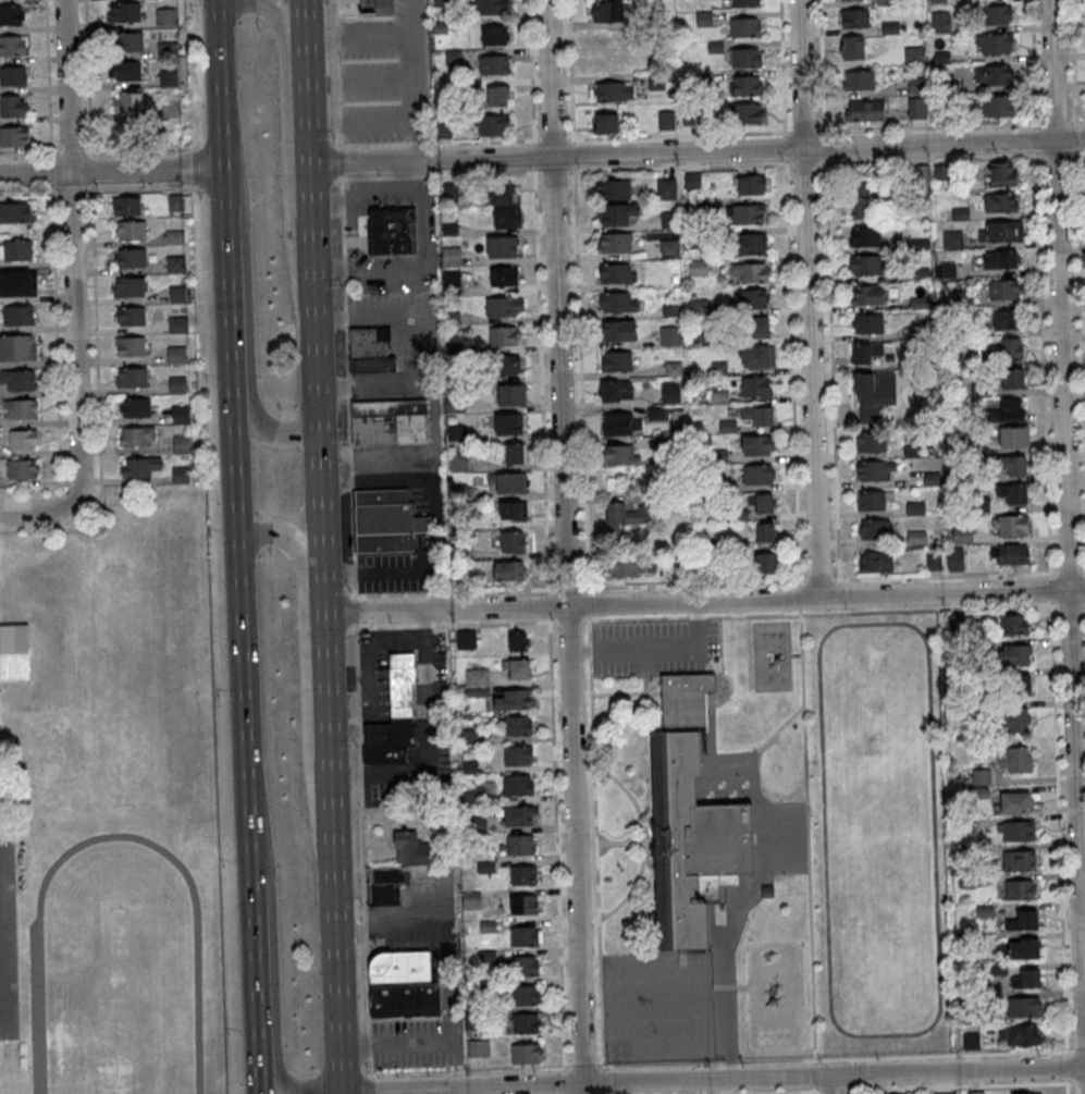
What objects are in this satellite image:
building: (938, 1)
building: (885, 2)
building: (441, 3)
building: (745, 3)
building: (491, 7)
building: (378, 8)
building: (607, 11)
building: (124, 12)
building: (12, 15)
building: (998, 15)
building: (165, 16)
building: (655, 19)
building: (704, 19)
building: (858, 19)
building: (941, 23)
building: (440, 27)
building: (745, 28)
building: (891, 28)
building: (495, 36)
building: (605, 38)
road: (359, 39)
building: (128, 41)
building: (13, 45)
building: (997, 45)
building: (716, 47)
building: (167, 48)
building: (853, 48)
building: (914, 56)
building: (454, 58)
building: (745, 58)
building: (942, 58)
building: (612, 61)
road: (1033, 62)
building: (494, 65)
building: (126, 70)
road: (336, 74)
building: (13, 75)
road: (47, 75)
building: (994, 75)
building: (700, 81)
building: (861, 81)
road: (360, 82)
road: (415, 82)
building: (657, 82)
building: (945, 83)
building: (917, 85)
building: (473, 86)
building: (748, 86)
building: (611, 90)
building: (497, 96)
building: (131, 100)
road: (220, 101)
building: (13, 105)
building: (998, 107)
building: (916, 109)
building: (865, 112)
building: (747, 114)
building: (665, 119)
road: (1076, 121)
building: (605, 122)
road: (360, 123)
road: (1056, 123)
building: (492, 124)
road: (89, 126)
building: (443, 127)
road: (285, 128)
road: (690, 134)
building: (14, 136)
road: (1035, 137)
road: (70, 149)
road: (25, 150)
road: (696, 152)
road: (1077, 153)
road: (1057, 155)
road: (340, 161)
road: (805, 163)
road: (195, 167)
road: (90, 170)
road: (50, 171)
road: (553, 171)
building: (940, 172)
building: (1001, 173)
road: (111, 174)
road: (441, 175)
road: (362, 179)
building: (692, 180)
building: (749, 183)
building: (666, 188)
road: (367, 190)
building: (615, 190)
road: (71, 192)
building: (452, 192)
road: (25, 193)
building: (501, 194)
building: (860, 200)
building: (1000, 201)
building: (176, 204)
road: (1077, 206)
building: (127, 207)
building: (15, 212)
road: (424, 212)
building: (617, 214)
building: (748, 214)
building: (507, 218)
road: (342, 222)
road: (225, 229)
building: (392, 230)
building: (134, 231)
building: (1002, 232)
building: (864, 236)
building: (175, 237)
building: (953, 239)
building: (616, 243)
building: (752, 244)
road: (73, 245)
building: (503, 247)
building: (15, 249)
building: (451, 255)
building: (132, 258)
building: (999, 260)
building: (176, 265)
building: (867, 266)
road: (383, 269)
building: (948, 270)
road: (329, 273)
building: (751, 273)
building: (617, 274)
building: (504, 276)
building: (451, 279)
building: (19, 282)
building: (132, 287)
road: (829, 290)
building: (1003, 291)
road: (789, 293)
building: (178, 295)
building: (866, 296)
road: (807, 298)
building: (752, 299)
building: (958, 299)
building: (618, 303)
building: (918, 303)
road: (316, 307)
building: (504, 307)
building: (17, 315)
building: (132, 317)
building: (1004, 320)
building: (178, 324)
building: (866, 325)
building: (754, 328)
building: (921, 330)
building: (620, 332)
building: (669, 335)
building: (503, 337)
road: (56, 344)
building: (131, 345)
road: (96, 346)
building: (17, 347)
building: (1011, 348)
building: (368, 352)
building: (865, 353)
building: (177, 355)
building: (757, 357)
building: (924, 358)
building: (617, 361)
building: (504, 366)
road: (248, 377)
building: (133, 378)
building: (1012, 378)
building: (17, 380)
building: (178, 385)
building: (754, 386)
building: (876, 389)
building: (617, 391)
building: (670, 392)
building: (511, 395)
building: (137, 408)
building: (20, 409)
building: (1007, 410)
building: (181, 414)
building: (757, 416)
road: (436, 417)
building: (389, 422)
building: (618, 422)
building: (508, 425)
road: (349, 434)
building: (137, 435)
building: (1013, 437)
building: (22, 439)
building: (872, 443)
building: (183, 444)
building: (759, 446)
building: (955, 447)
building: (913, 451)
building: (515, 453)
building: (619, 454)
building: (1011, 465)
building: (22, 468)
building: (140, 468)
building: (872, 471)
building: (182, 475)
building: (759, 475)
building: (957, 477)
building: (933, 479)
building: (510, 483)
building: (1012, 493)
building: (871, 500)
building: (763, 504)
building: (983, 505)
road: (61, 508)
building: (916, 508)
road: (45, 511)
building: (514, 512)
building: (625, 516)
building: (386, 521)
building: (1010, 525)
building: (876, 530)
building: (765, 531)
road: (585, 533)
road: (546, 534)
building: (962, 534)
building: (916, 538)
building: (513, 541)
road: (1065, 541)
road: (564, 546)
building: (1009, 554)
building: (954, 558)
building: (764, 562)
building: (875, 562)
building: (626, 566)
building: (508, 571)
road: (1070, 574)
road: (946, 577)
road: (818, 581)
road: (578, 588)
road: (799, 598)
road: (705, 601)
road: (1050, 601)
road: (1069, 604)
road: (1084, 604)
road: (696, 609)
road: (355, 611)
road: (705, 615)
building: (1013, 624)
road: (696, 631)
building: (467, 640)
building: (518, 642)
parking lot: (655, 647)
road: (643, 648)
road: (579, 651)
building: (14, 654)
building: (1013, 654)
road: (305, 666)
building: (517, 669)
road: (643, 669)
road: (242, 675)
building: (478, 677)
building: (1015, 684)
road: (329, 686)
building: (474, 691)
road: (625, 691)
building: (514, 700)
building: (394, 716)
building: (1014, 720)
building: (519, 726)
road: (774, 732)
building: (471, 737)
road: (429, 741)
road: (755, 749)
building: (518, 757)
building: (1014, 759)
building: (470, 766)
building: (979, 776)
building: (518, 785)
building: (471, 796)
building: (1015, 801)
building: (520, 818)
building: (691, 821)
building: (480, 825)
track: (878, 828)
building: (1016, 831)
road: (7, 835)
road: (807, 835)
road: (650, 839)
road: (620, 840)
road: (645, 840)
building: (521, 845)
building: (409, 847)
road: (362, 851)
building: (1019, 859)
building: (486, 868)
building: (525, 876)
building: (384, 885)
building: (1019, 889)
building: (766, 890)
building: (472, 900)
building: (525, 905)
building: (1023, 920)
road: (335, 924)
building: (488, 926)
building: (525, 937)
parking lot: (8, 944)
building: (1023, 948)
building: (489, 956)
road: (272, 962)
building: (525, 967)
track: (116, 972)
track: (120, 975)
building: (1027, 978)
building: (402, 983)
building: (489, 985)
building: (527, 996)
park: (120, 1001)
building: (1022, 1006)
road: (728, 1009)
building: (474, 1019)
building: (526, 1024)
building: (1019, 1034)
building: (971, 1040)
road: (409, 1042)
building: (477, 1049)
road: (1076, 1049)
building: (527, 1055)
road: (834, 1058)
road: (581, 1066)
road: (1065, 1066)
road: (468, 1069)
road: (854, 1073)
road: (815, 1074)
road: (713, 1080)
road: (603, 1081)
road: (564, 1082)
road: (1078, 1082)
road: (370, 1085)
road: (833, 1085)
road: (946, 1086)
road: (1066, 1086)
road: (815, 1090)
road: (765, 1092)
road: (855, 1092)
building: (975, 1092)
building: (945, 1093)
building: (1025, 1093)

